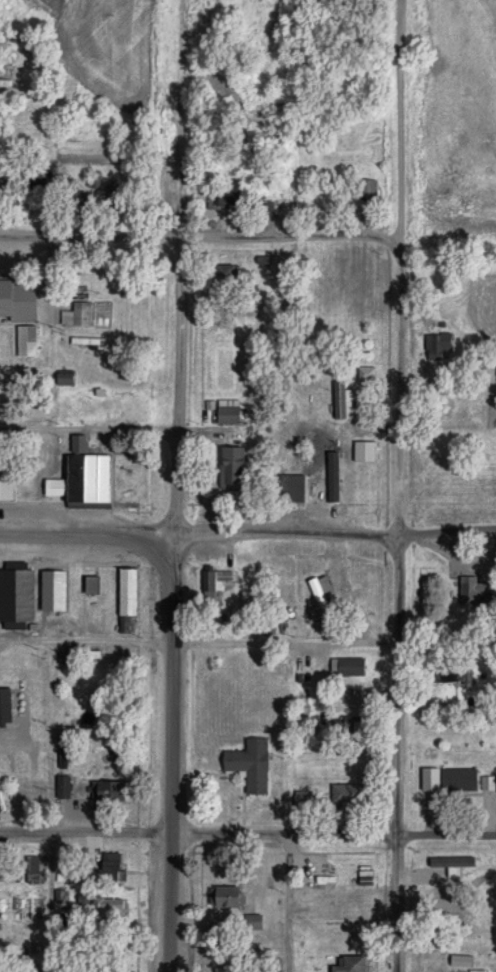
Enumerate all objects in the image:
building: (24, 37)
building: (6, 76)
road: (178, 118)
building: (95, 179)
building: (37, 182)
building: (366, 188)
building: (4, 190)
building: (227, 194)
building: (116, 196)
building: (41, 206)
building: (268, 209)
road: (86, 235)
road: (293, 235)
road: (177, 236)
building: (226, 273)
building: (90, 275)
building: (27, 294)
building: (76, 314)
building: (26, 341)
building: (88, 341)
building: (439, 343)
building: (366, 373)
building: (65, 378)
building: (343, 401)
building: (120, 404)
building: (228, 411)
road: (199, 427)
building: (78, 443)
building: (364, 451)
building: (232, 468)
building: (7, 480)
building: (87, 481)
road: (397, 486)
building: (291, 487)
road: (248, 535)
building: (215, 579)
building: (16, 583)
building: (92, 584)
building: (473, 588)
building: (52, 591)
building: (127, 591)
road: (170, 603)
road: (198, 641)
building: (350, 666)
building: (450, 670)
building: (4, 697)
building: (348, 726)
building: (251, 765)
building: (458, 780)
building: (62, 787)
building: (108, 792)
building: (349, 793)
building: (298, 801)
road: (247, 832)
building: (112, 865)
building: (2, 870)
building: (322, 874)
building: (227, 897)
building: (440, 903)
building: (351, 904)
building: (110, 911)
building: (252, 923)
building: (276, 930)
building: (346, 933)
building: (351, 964)

